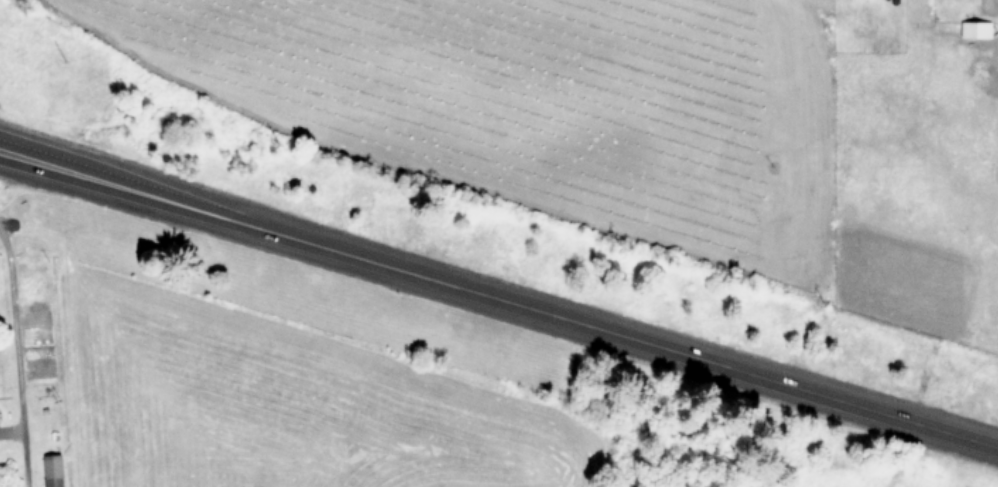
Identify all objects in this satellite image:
building: (977, 28)
road: (82, 162)
road: (81, 175)
road: (580, 323)
road: (19, 357)
building: (54, 470)
crop: (857, 470)

